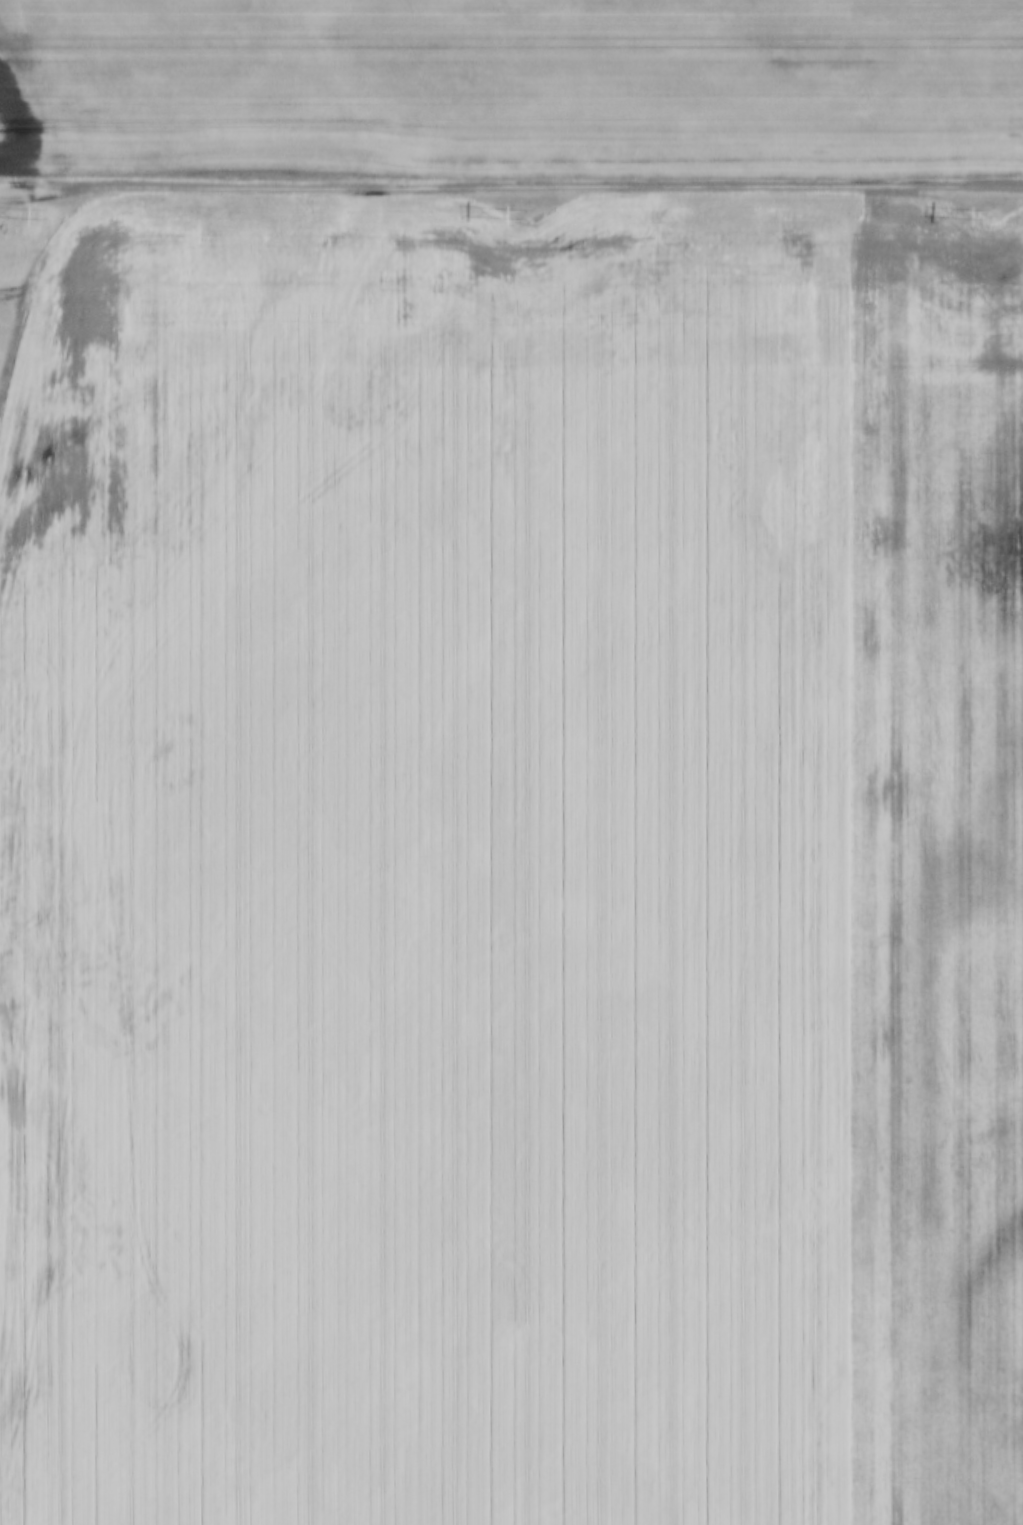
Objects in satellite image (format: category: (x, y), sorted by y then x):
road: (511, 170)

